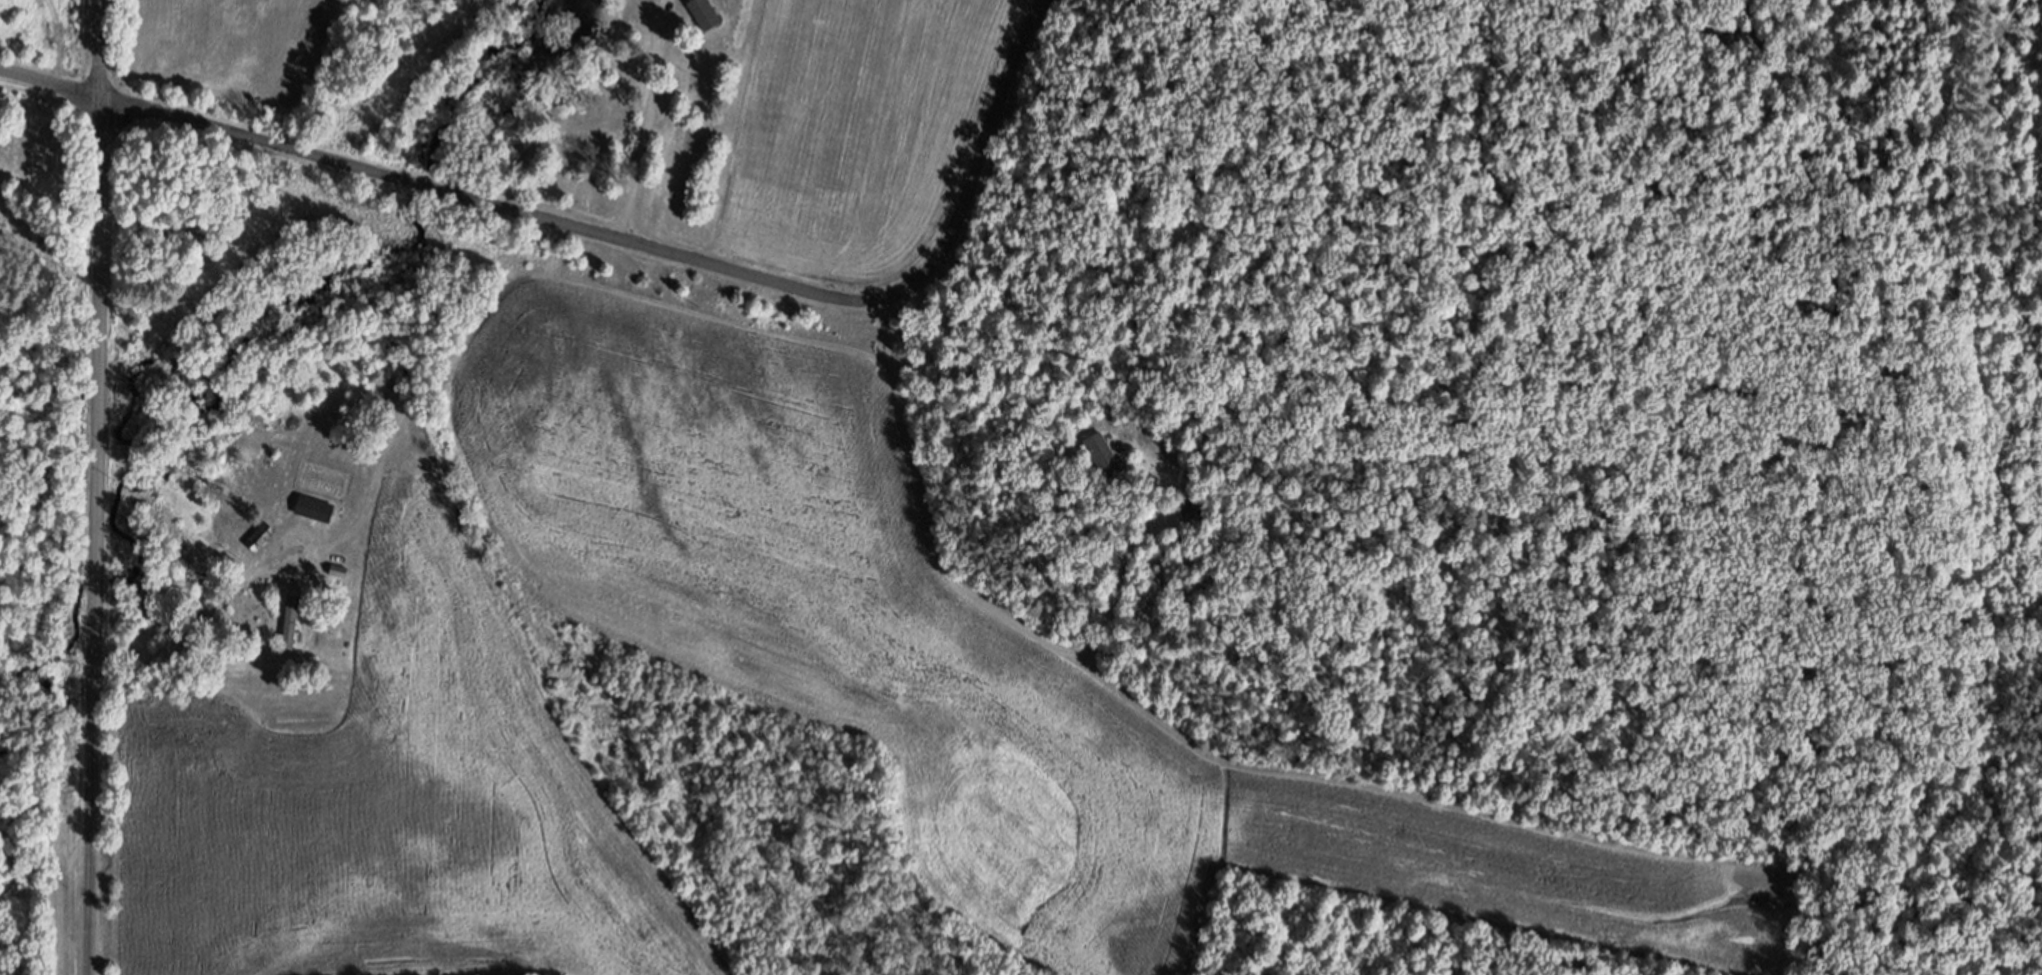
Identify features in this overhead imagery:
building: (707, 20)
road: (645, 120)
road: (612, 237)
building: (1109, 466)
road: (99, 487)
building: (317, 517)
building: (1198, 519)
building: (264, 545)
building: (341, 579)
building: (293, 631)

